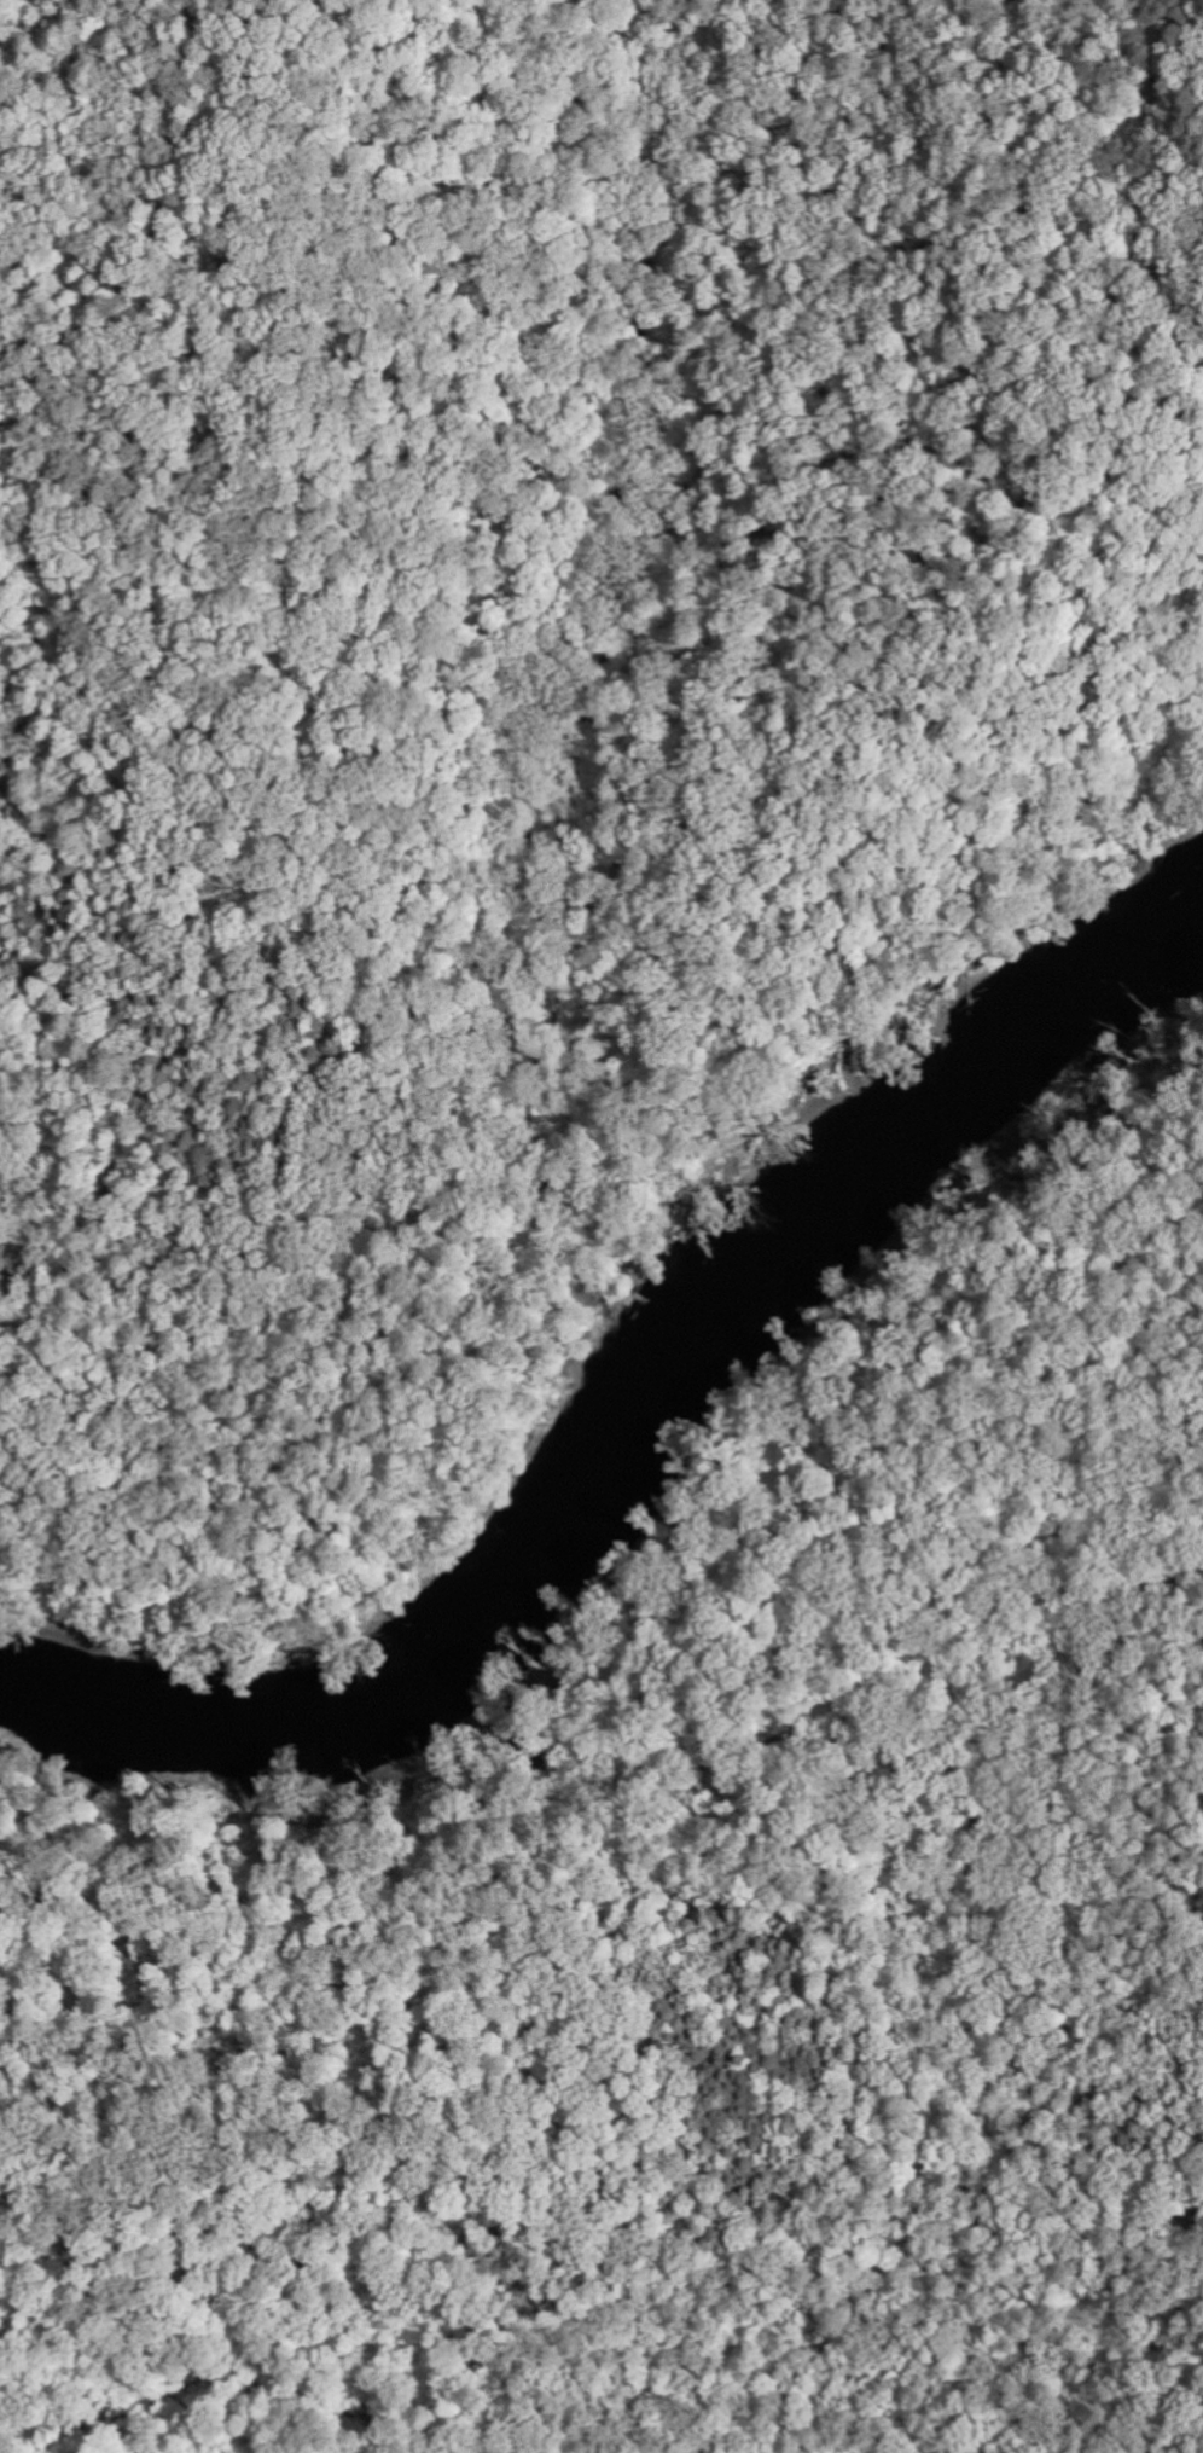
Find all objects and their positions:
road: (361, 666)
road: (786, 825)
river: (672, 1469)

